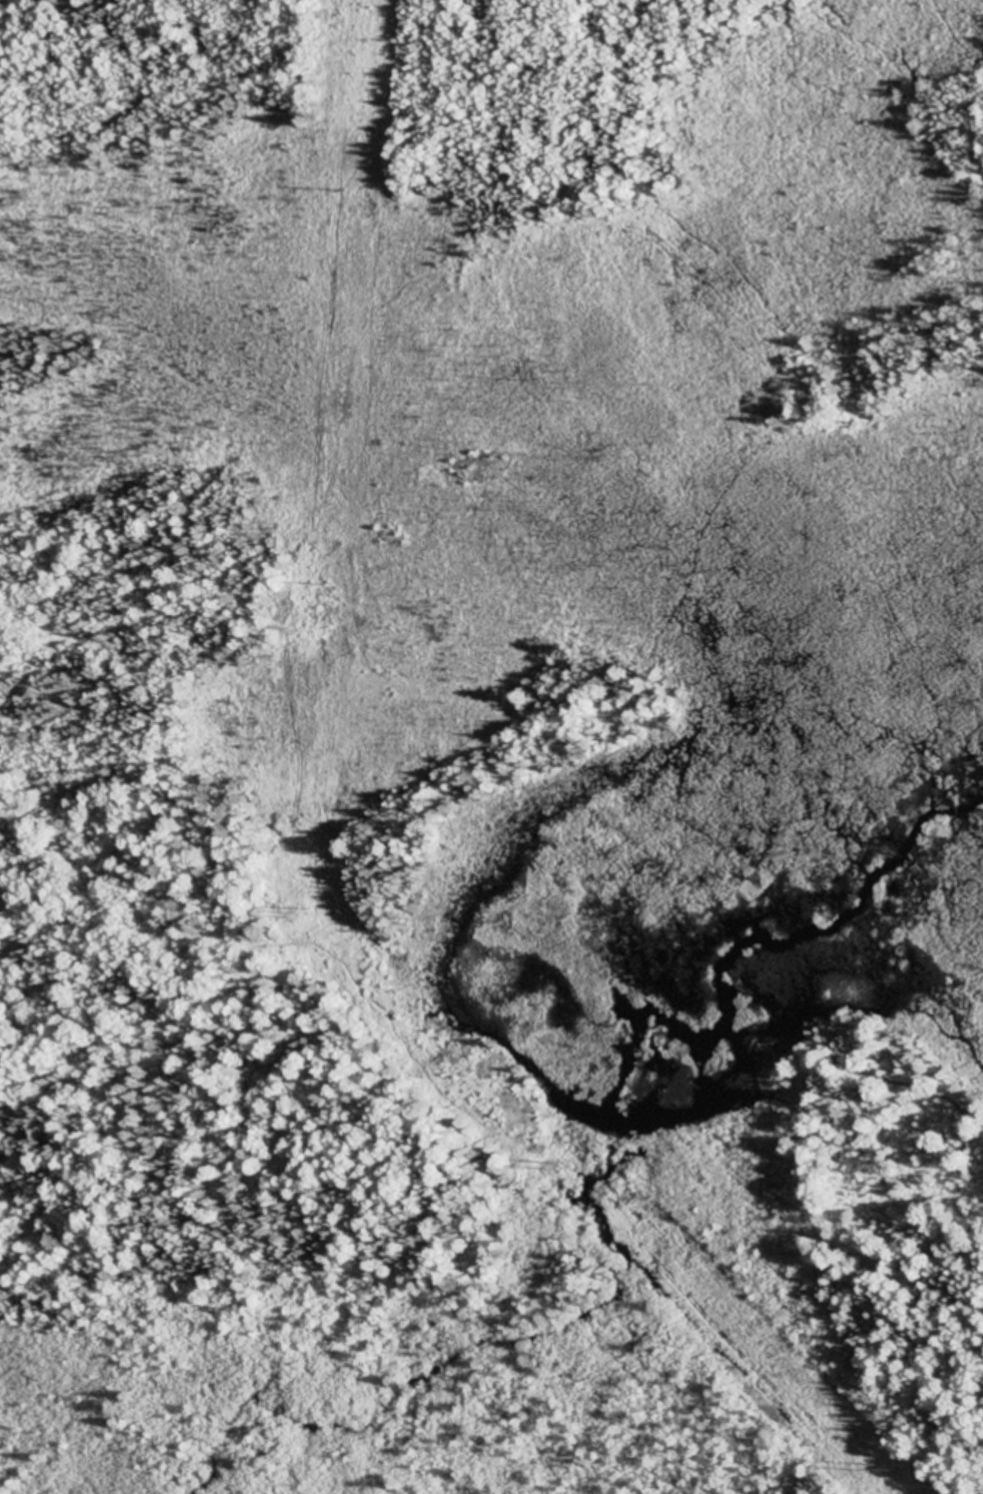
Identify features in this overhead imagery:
power tower: (352, 192)
power tower: (327, 587)
power tower: (306, 916)
power tower: (568, 1169)
power tower: (873, 1470)

